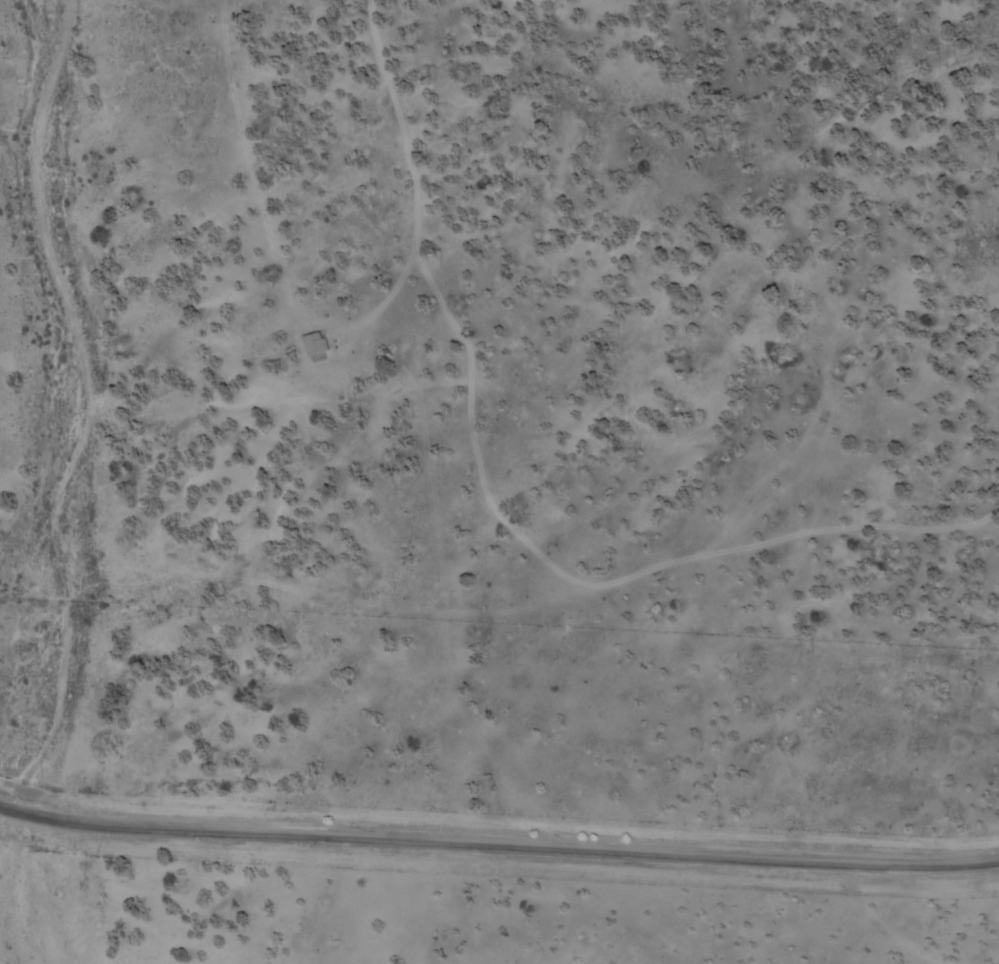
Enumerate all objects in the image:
road: (449, 313)
road: (384, 588)
road: (498, 847)

